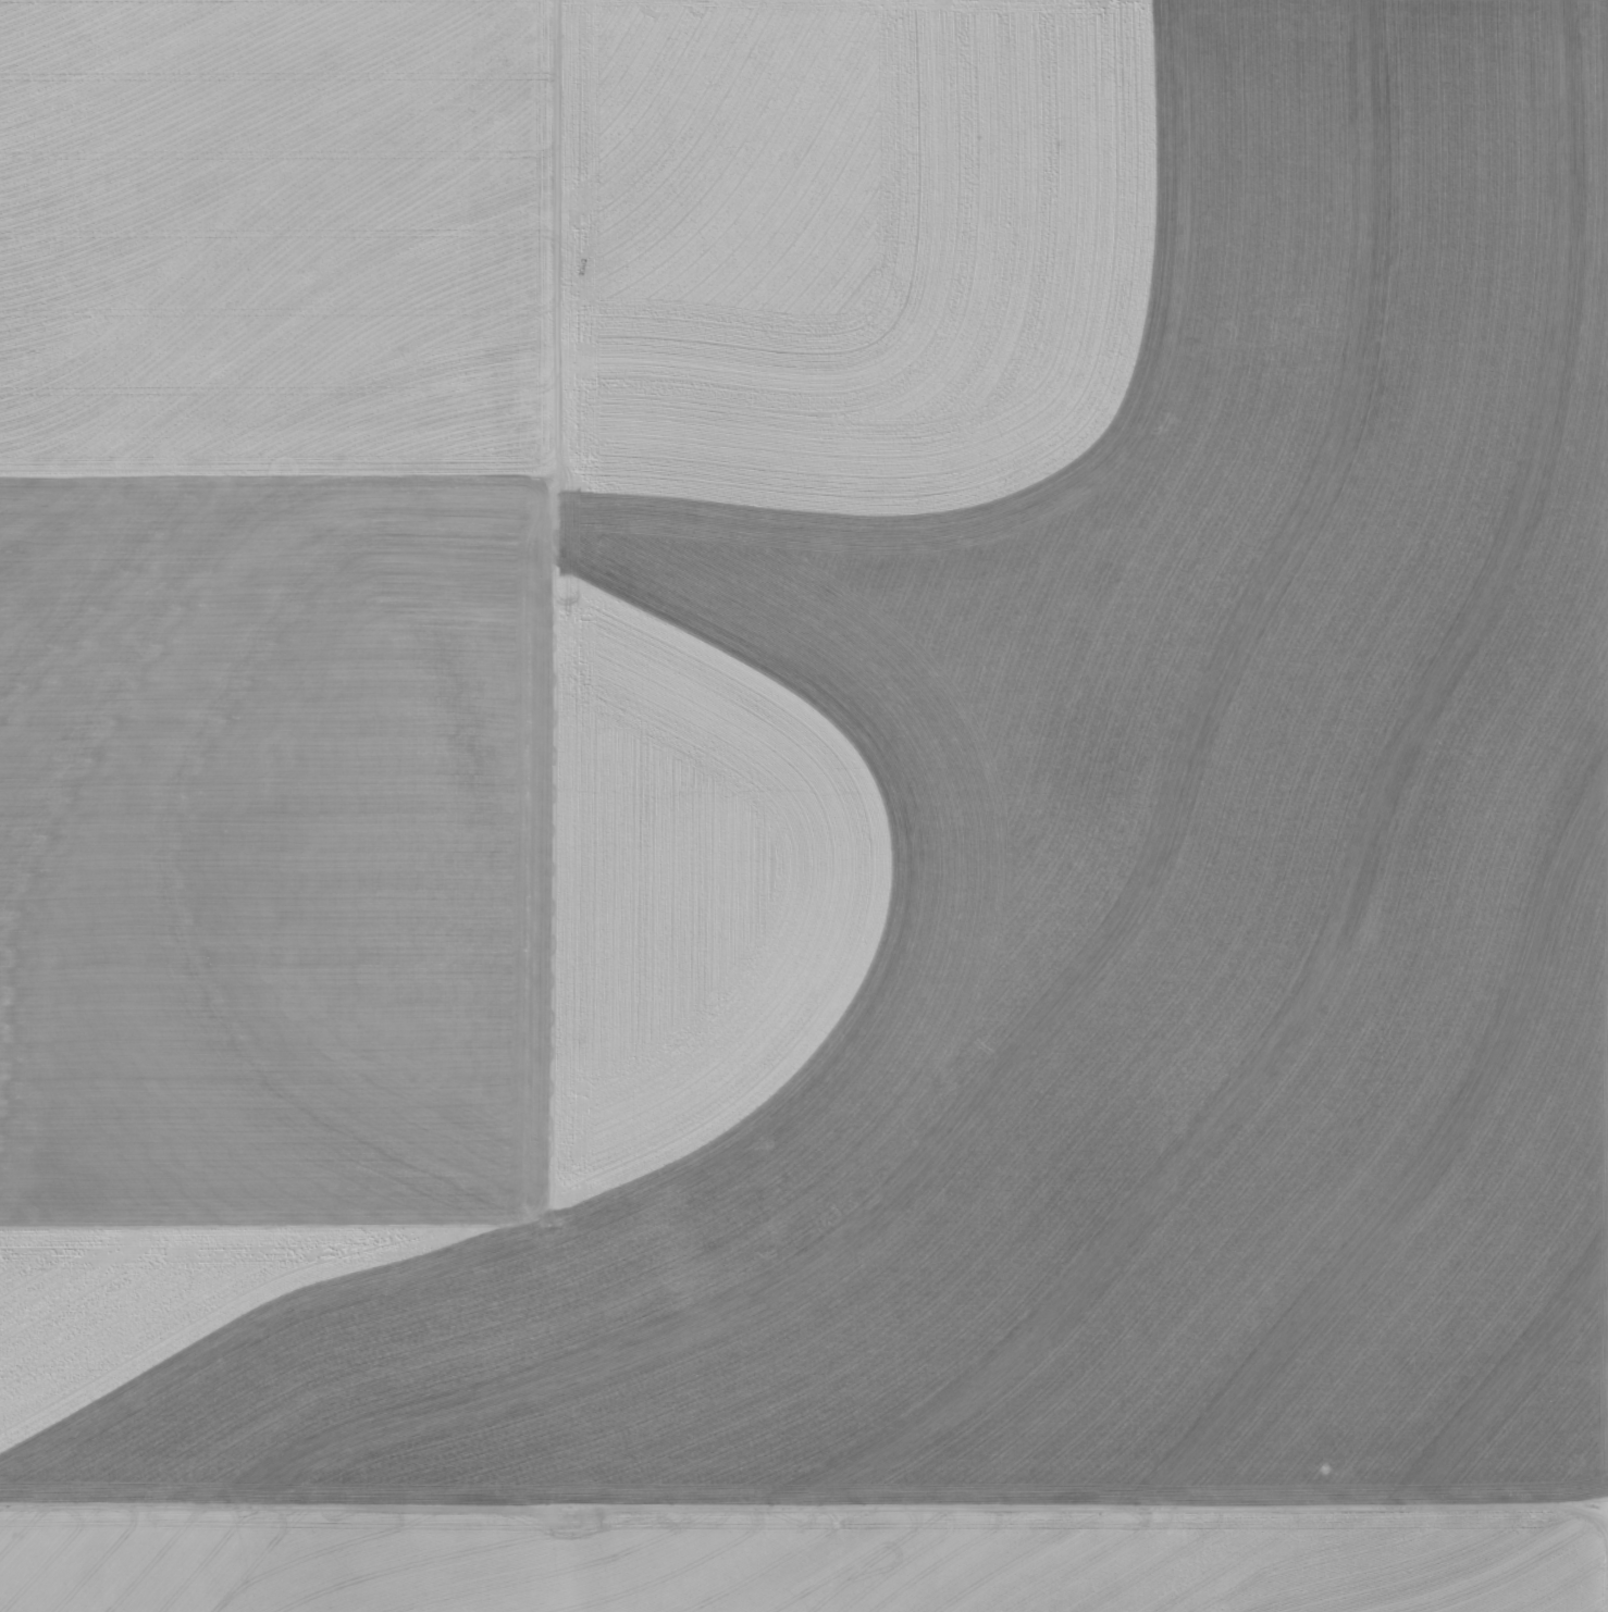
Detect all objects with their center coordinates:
road: (578, 895)

